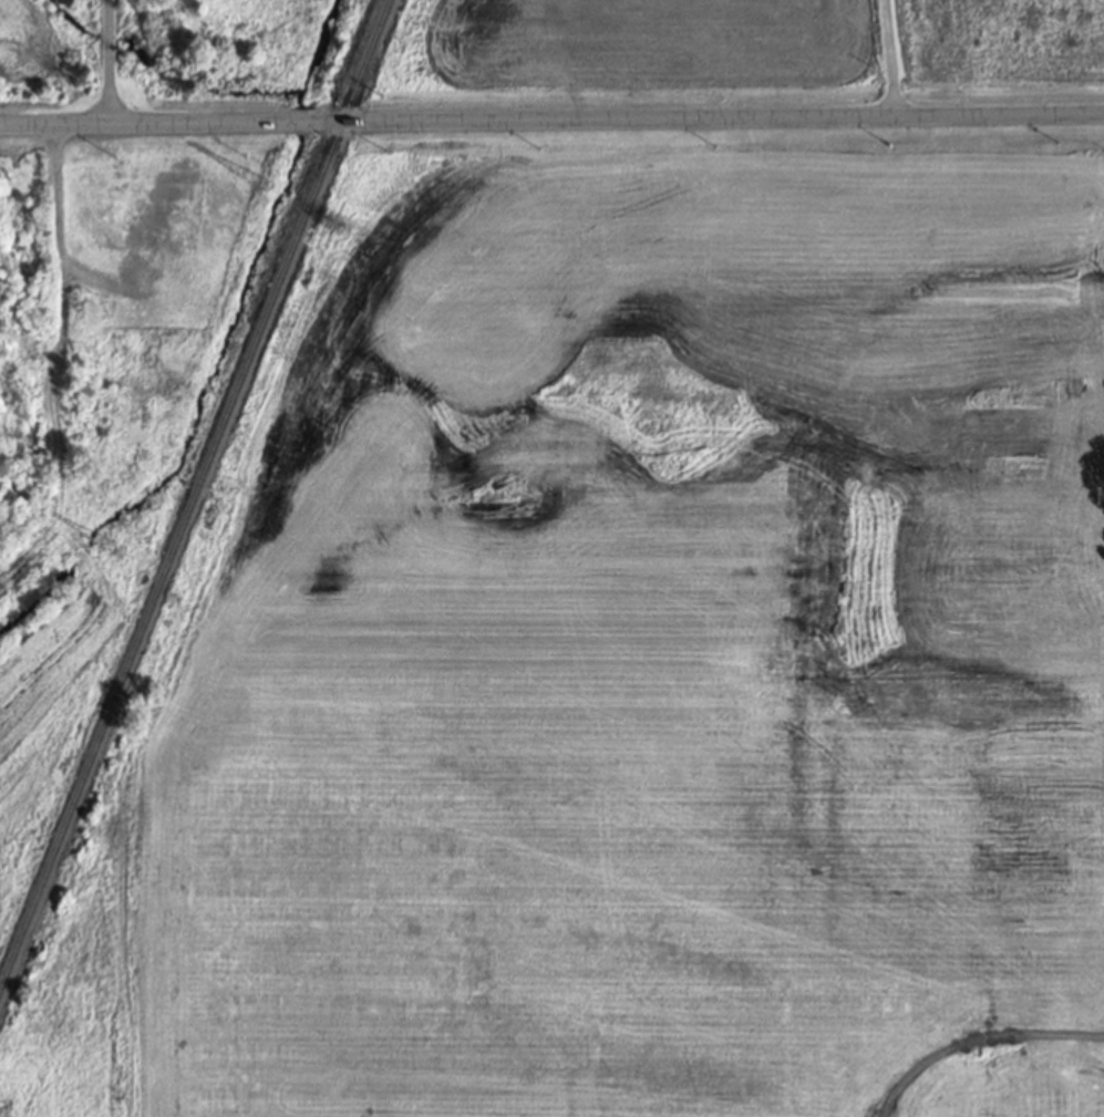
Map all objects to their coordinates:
road: (893, 58)
road: (104, 62)
road: (709, 117)
road: (299, 123)
road: (142, 125)
railway: (196, 500)

